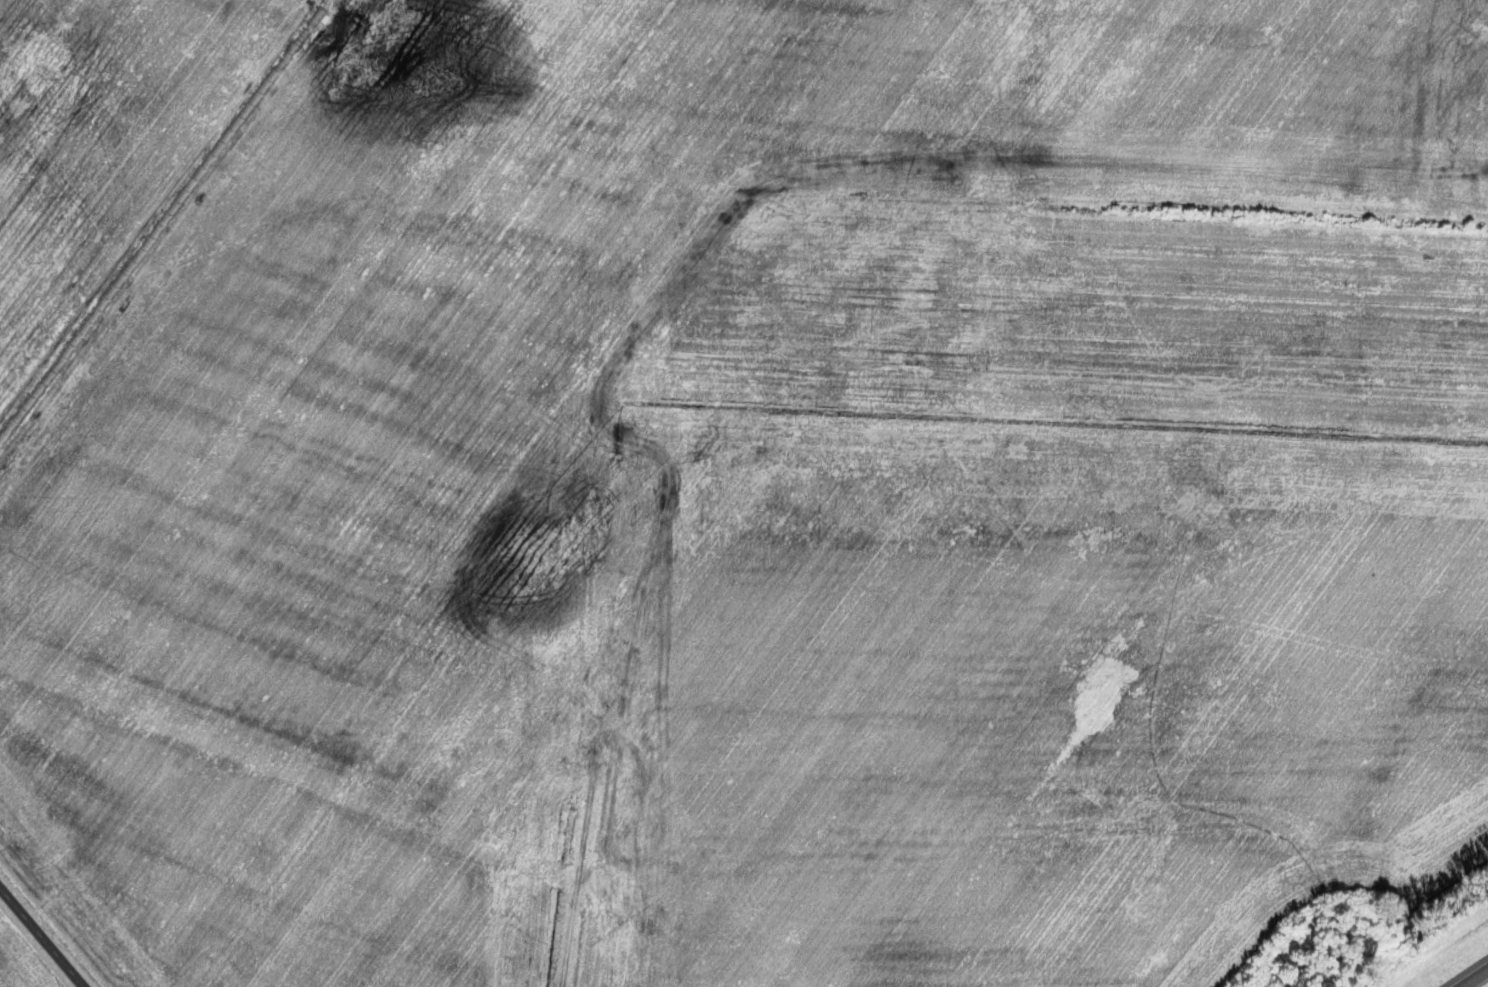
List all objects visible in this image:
road: (177, 227)
road: (225, 736)
road: (42, 937)
road: (1477, 979)

